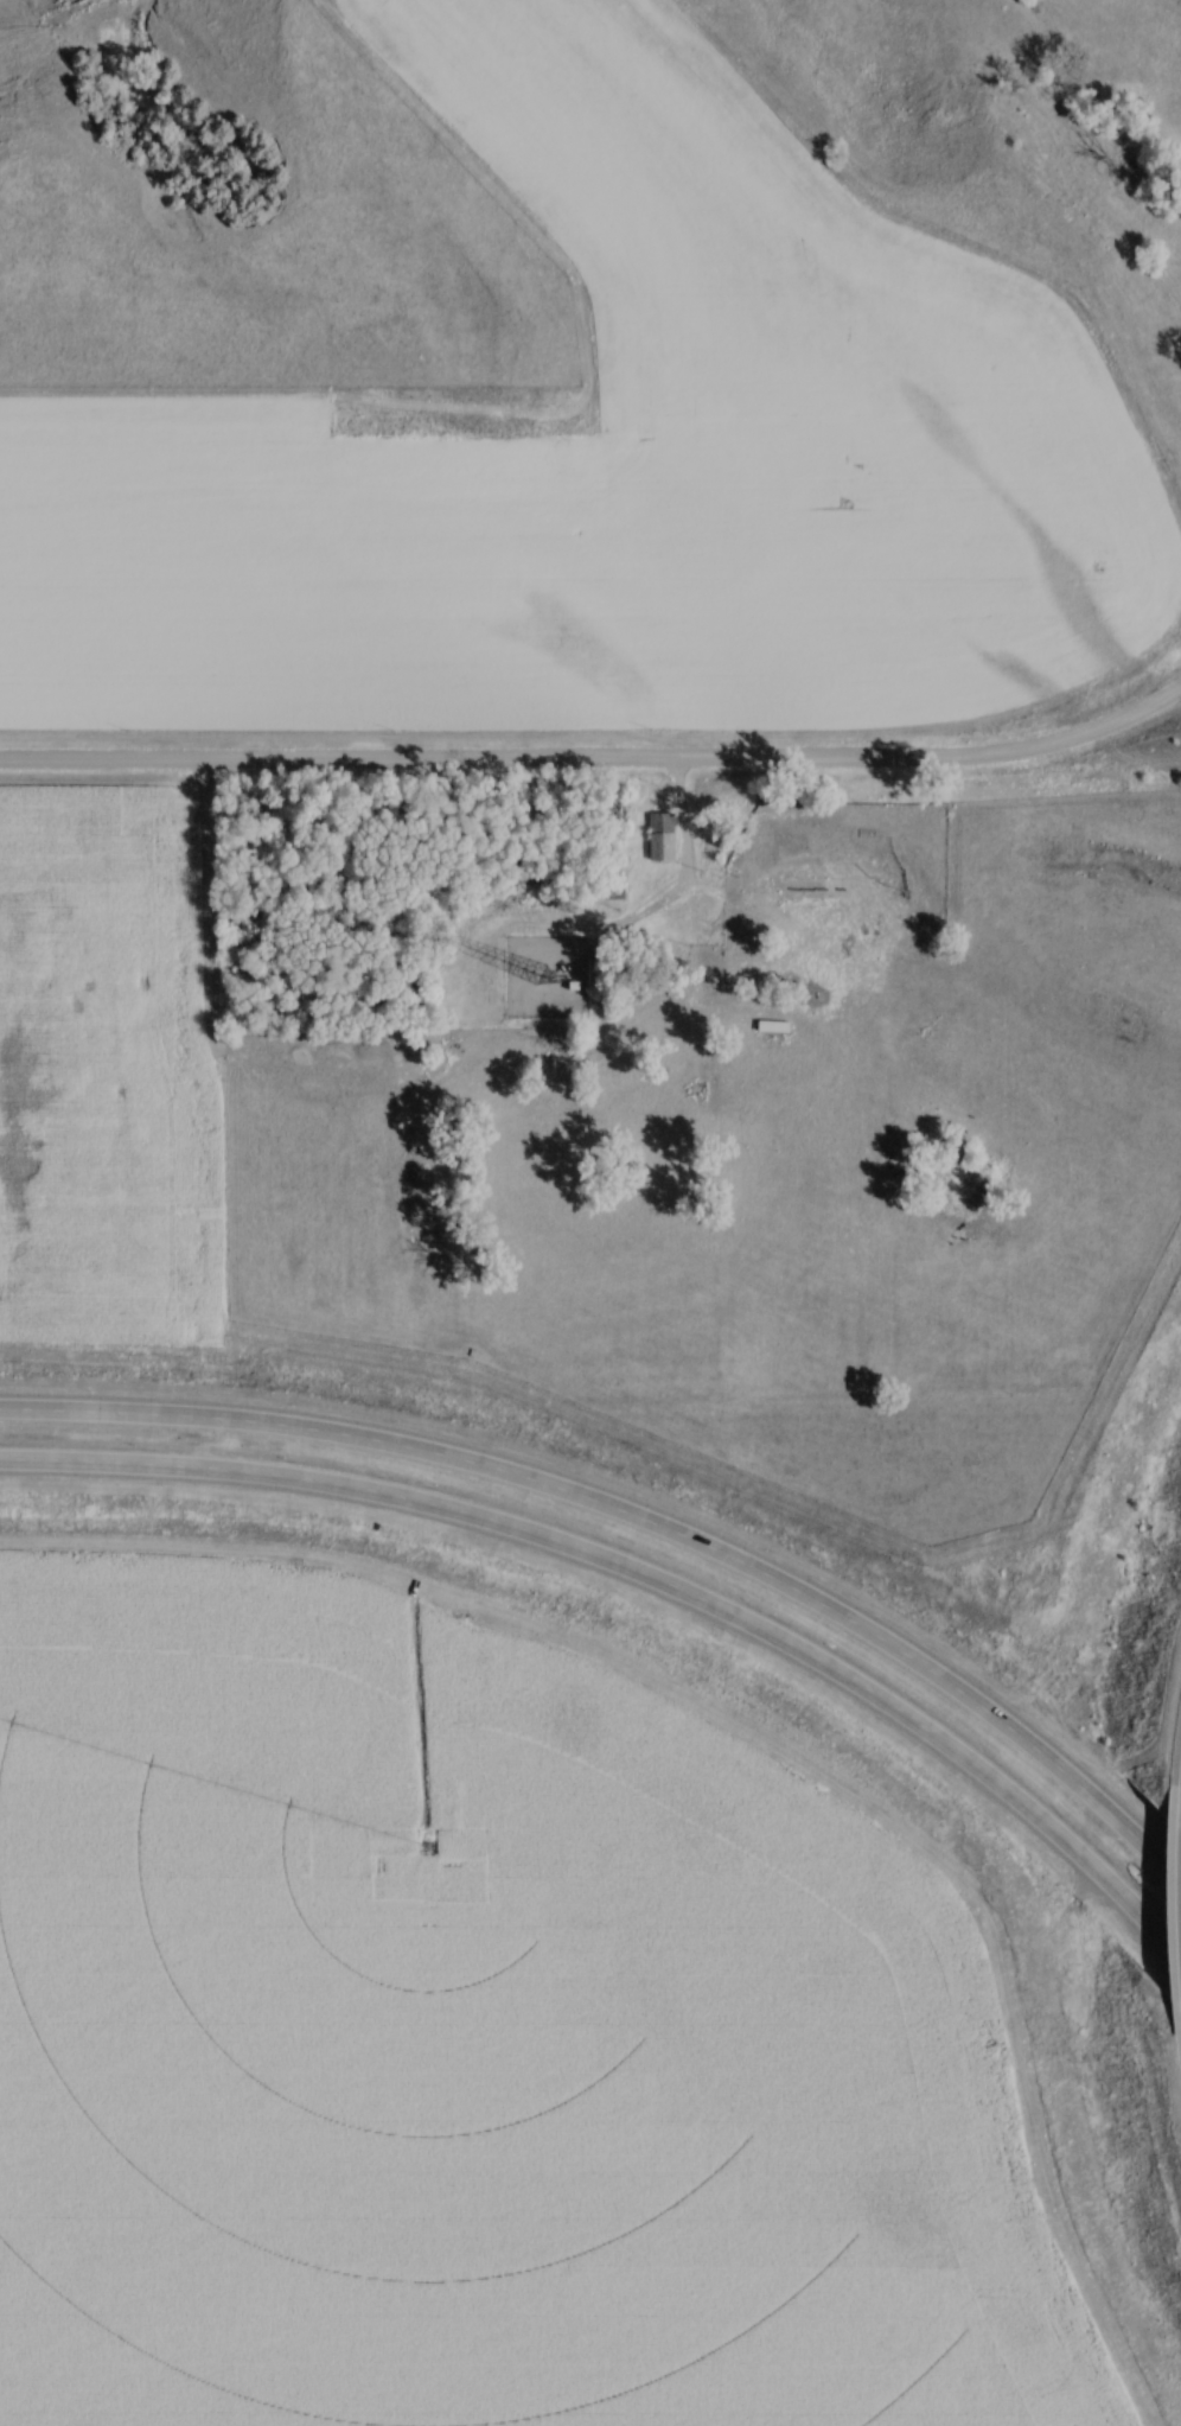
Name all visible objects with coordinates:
road: (598, 763)
building: (663, 836)
building: (775, 1027)
road: (640, 1517)
road: (646, 1577)

